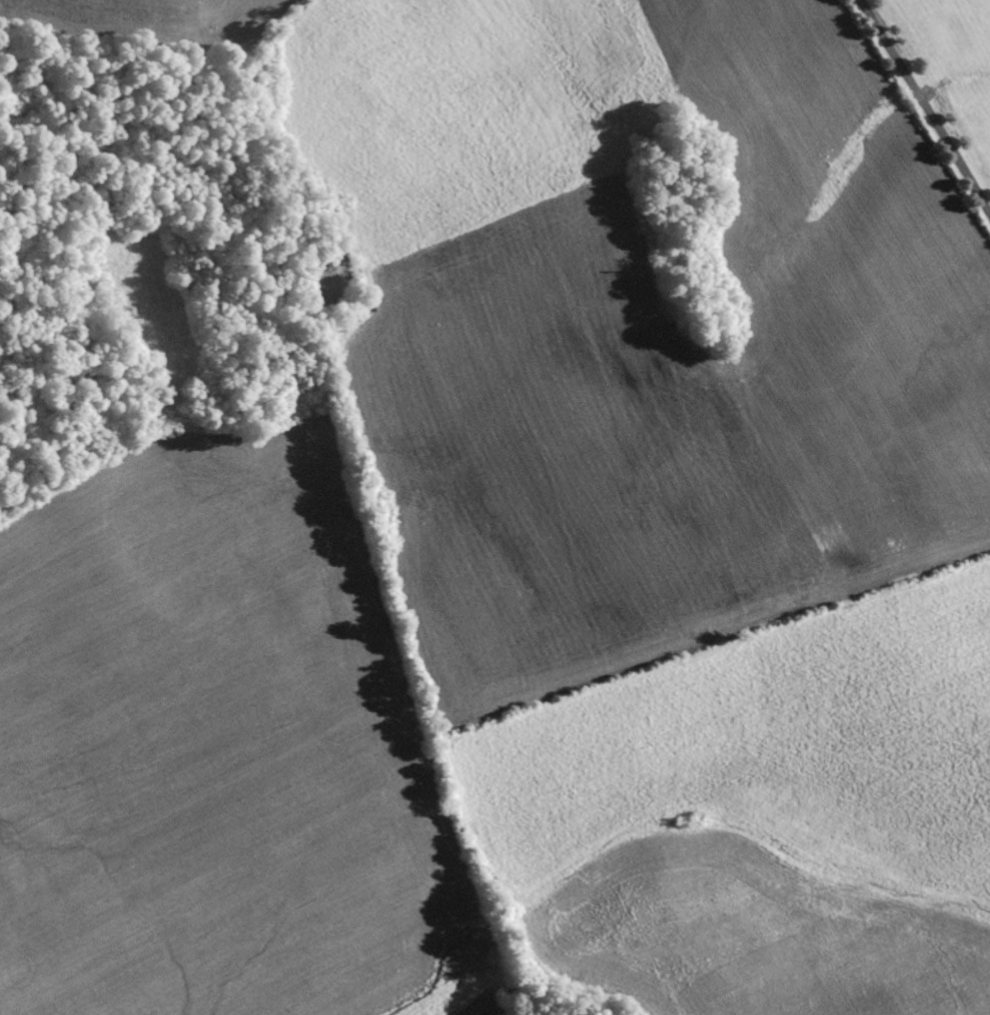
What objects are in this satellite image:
road: (923, 109)

